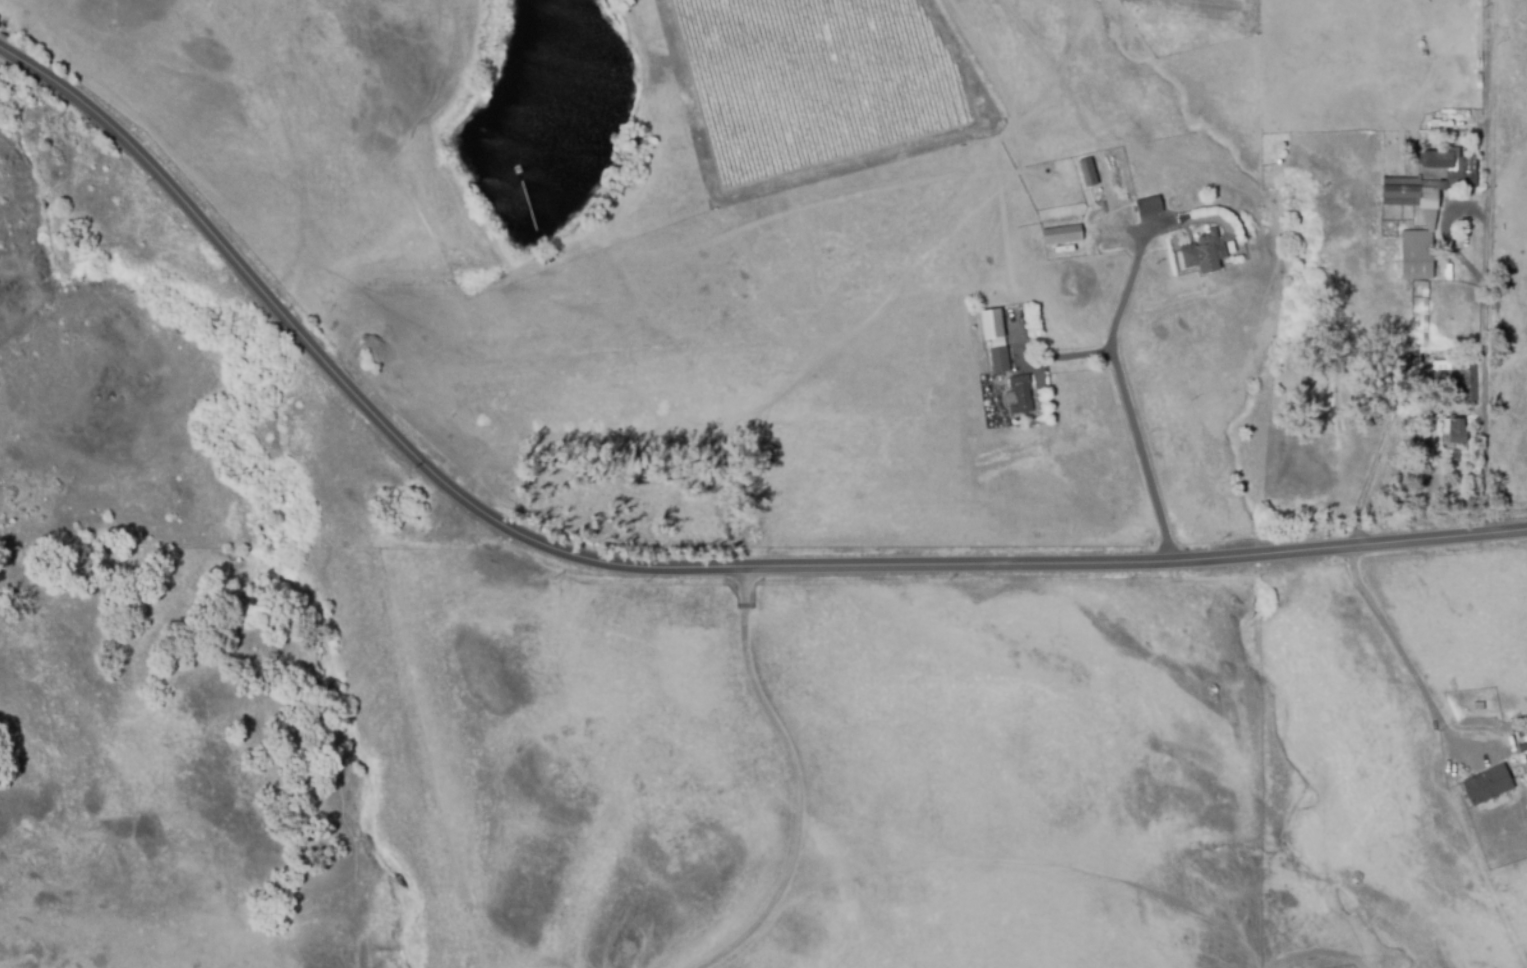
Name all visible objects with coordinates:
building: (1451, 166)
building: (1087, 173)
building: (1410, 196)
building: (1149, 207)
building: (1062, 236)
building: (1206, 253)
building: (1418, 255)
building: (548, 261)
road: (1489, 267)
building: (992, 324)
building: (1000, 360)
building: (1453, 381)
building: (1021, 394)
road: (1127, 403)
building: (1455, 438)
road: (1375, 461)
road: (663, 575)
road: (1400, 649)
road: (798, 784)
building: (1485, 787)

